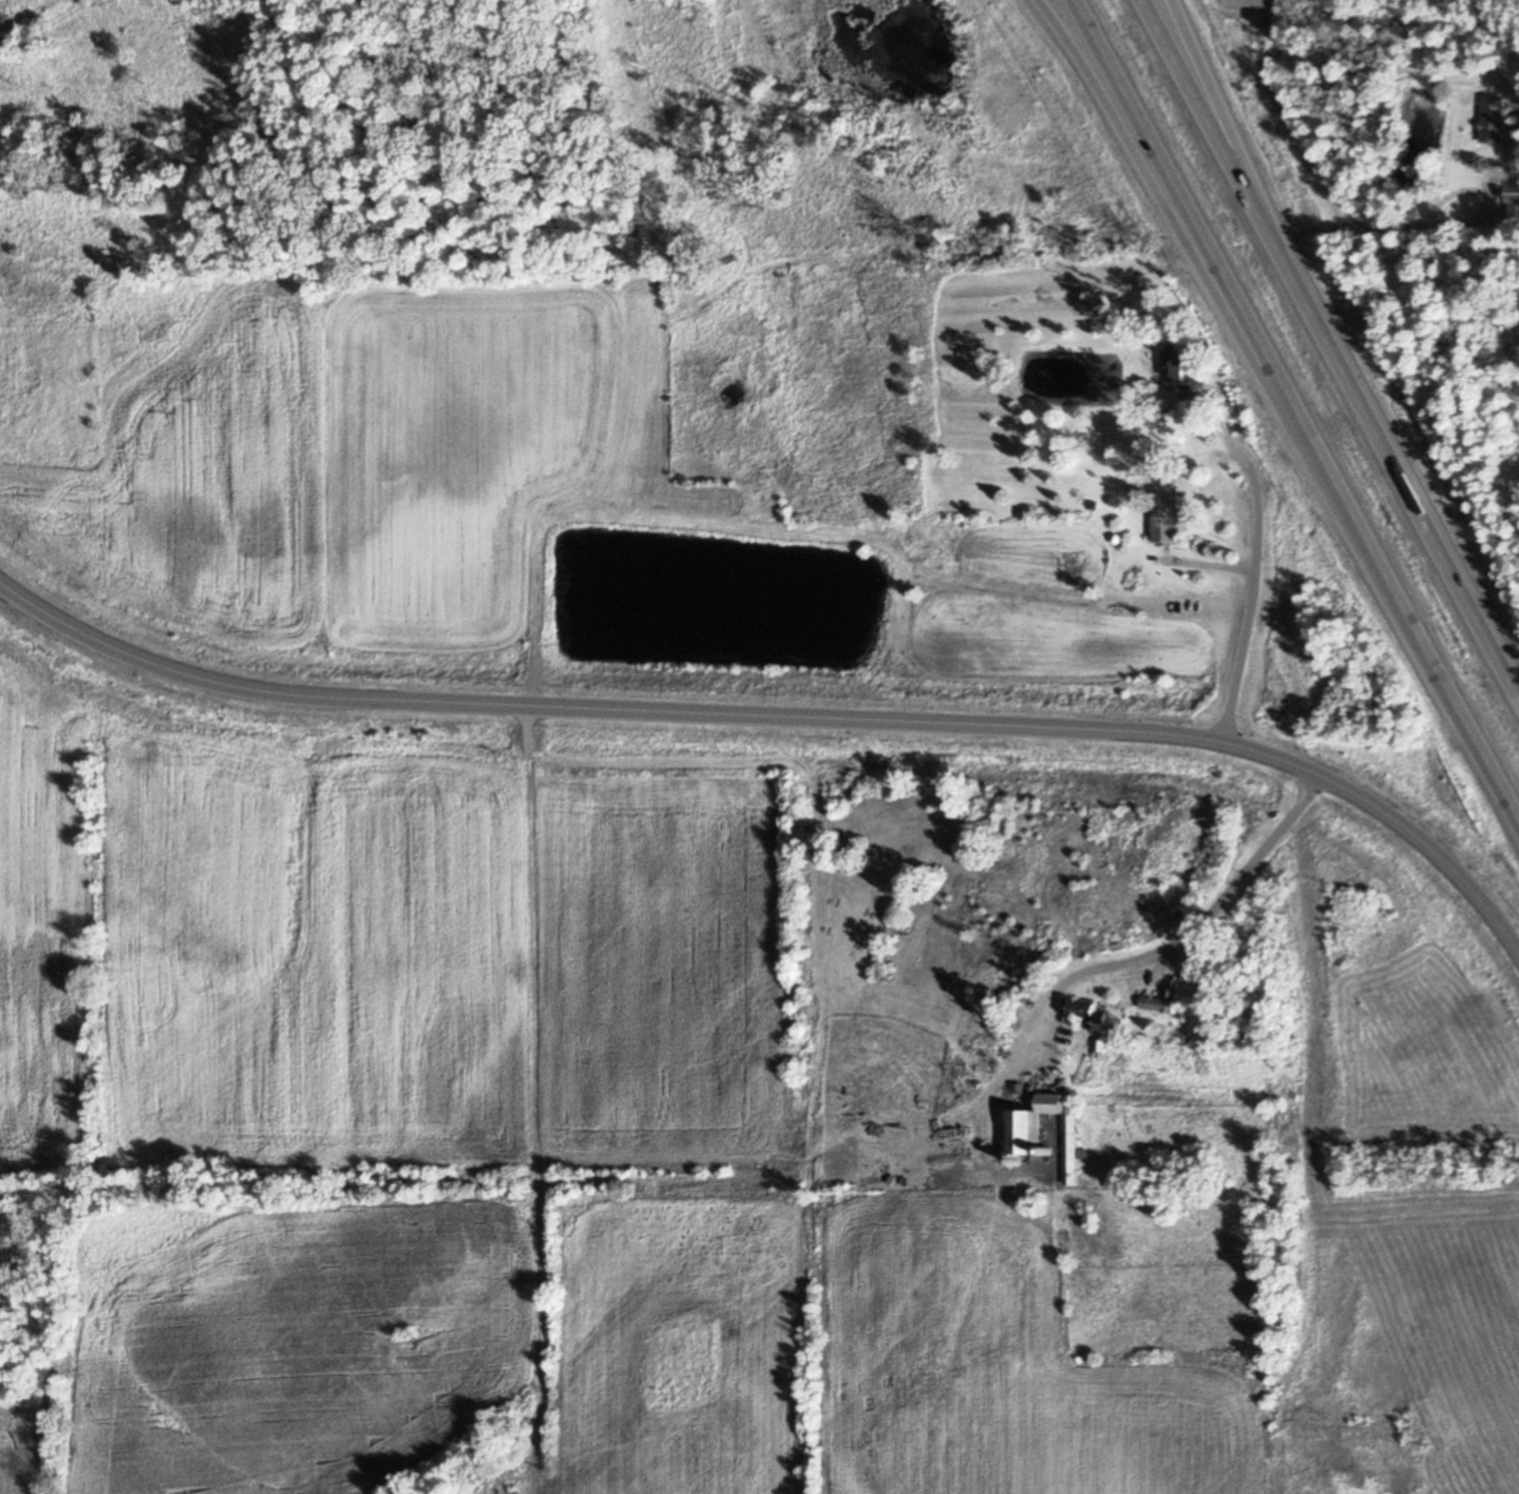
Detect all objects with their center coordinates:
road: (1213, 104)
road: (1121, 113)
building: (1494, 118)
building: (1472, 157)
road: (1323, 183)
building: (1513, 204)
road: (1256, 208)
road: (1196, 221)
building: (1174, 362)
road: (1225, 438)
building: (1165, 503)
building: (1094, 504)
road: (1444, 553)
road: (1247, 617)
road: (1418, 630)
road: (790, 713)
road: (1190, 933)
building: (1163, 1000)
building: (1087, 1010)
building: (1188, 1033)
building: (1099, 1045)
building: (995, 1058)
building: (1024, 1132)
building: (1051, 1150)

